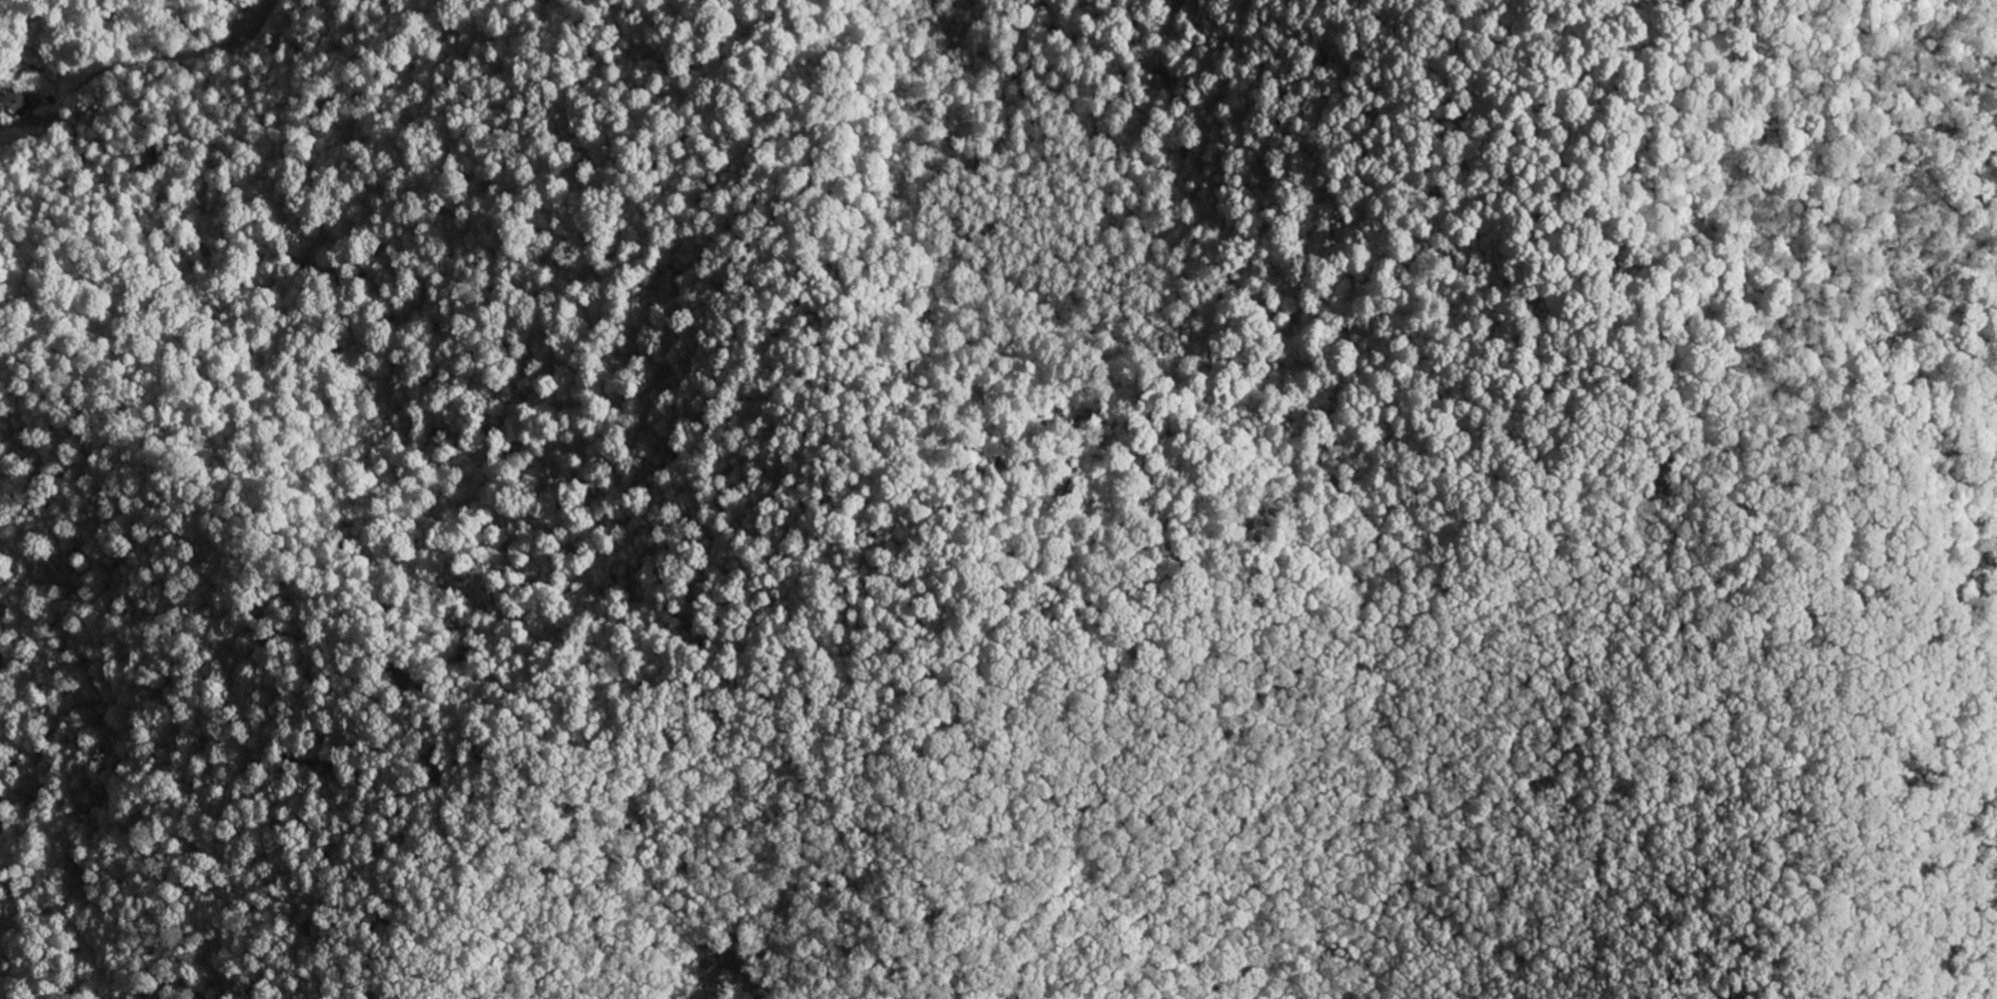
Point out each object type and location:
road: (138, 63)

